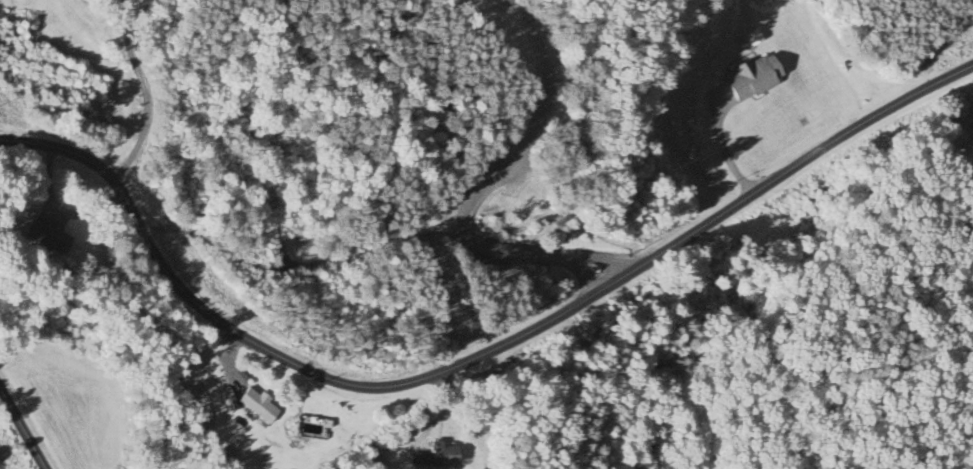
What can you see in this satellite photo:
road: (122, 20)
road: (97, 26)
building: (757, 38)
building: (758, 77)
road: (147, 112)
road: (480, 185)
building: (51, 238)
road: (472, 355)
building: (242, 378)
building: (261, 407)
road: (20, 433)

